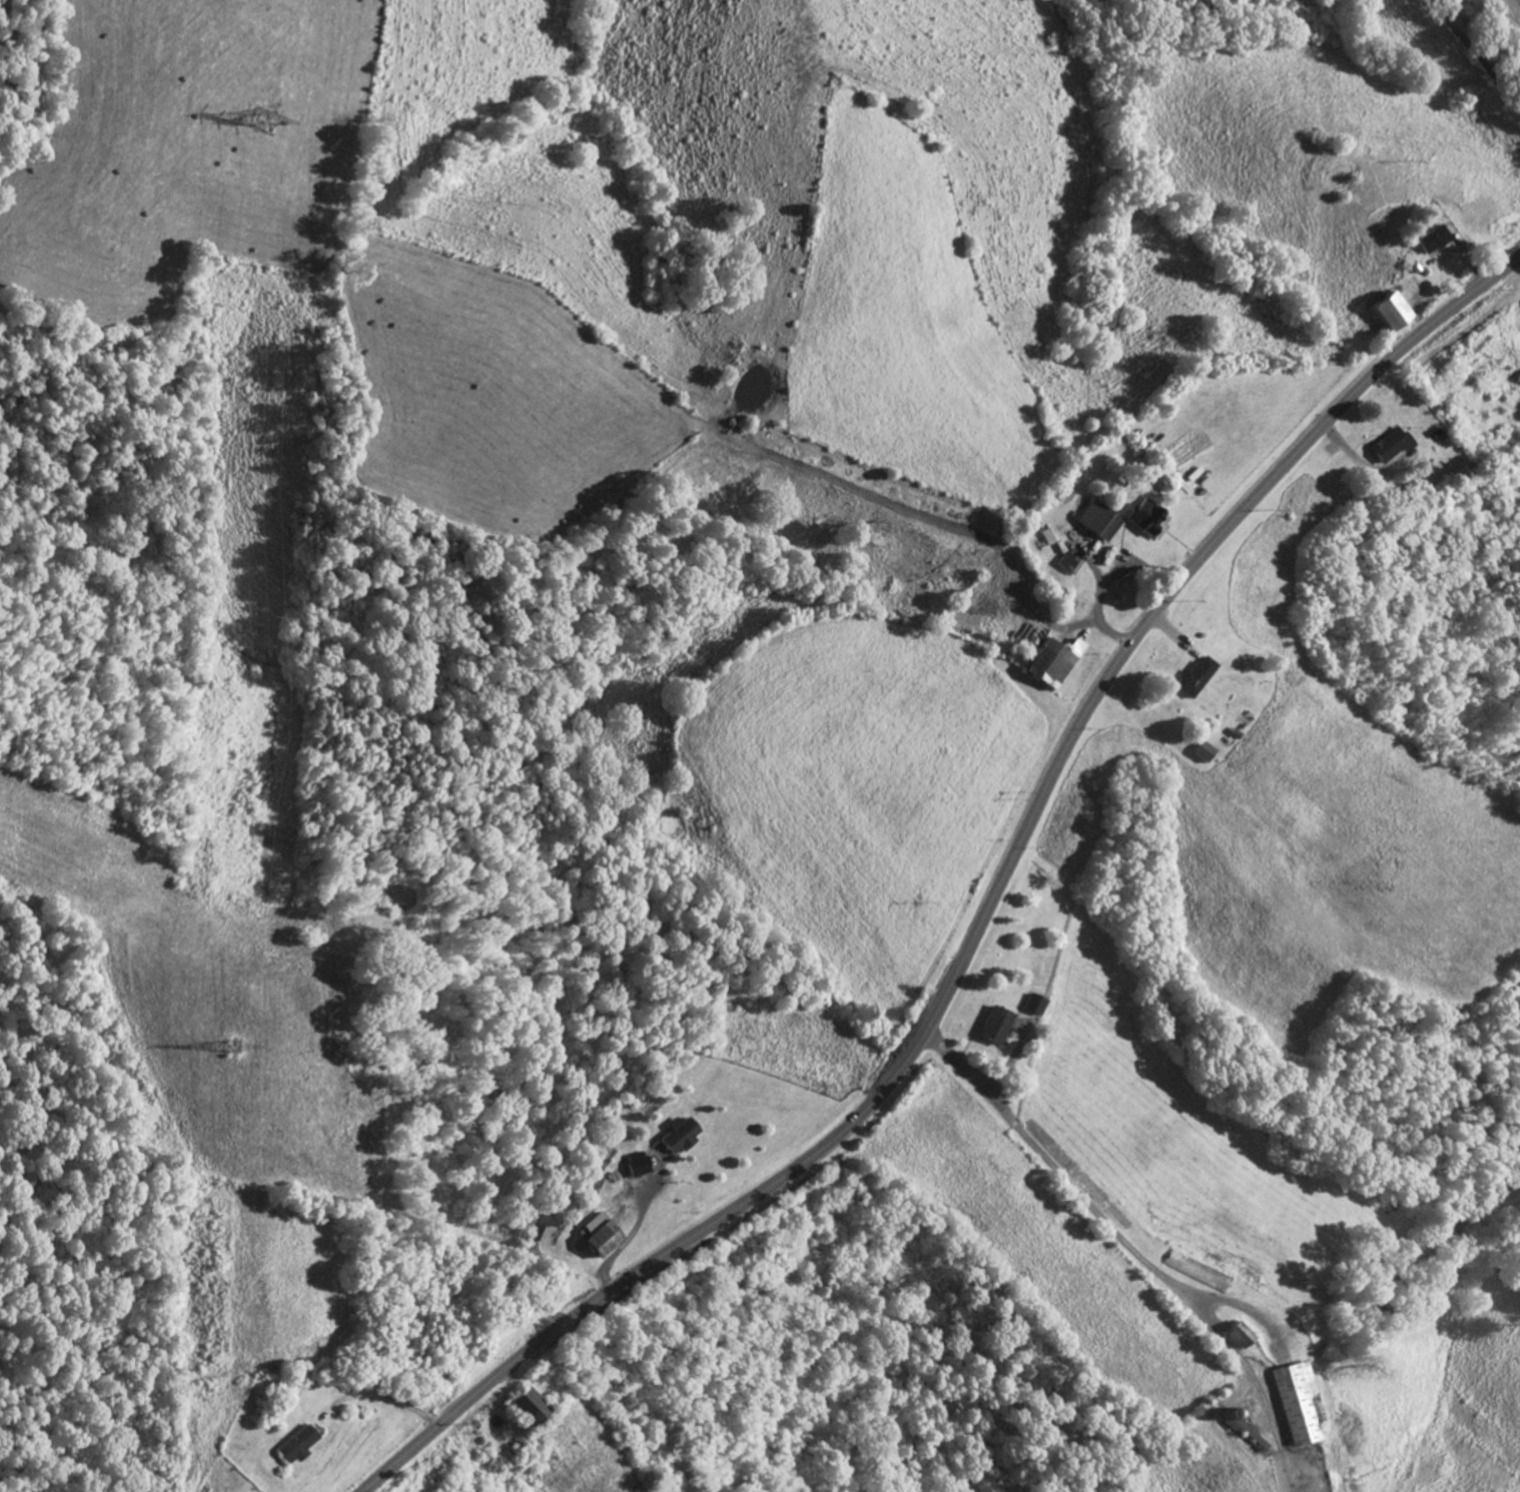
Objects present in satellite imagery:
power tower: (267, 115)
building: (1435, 240)
building: (1395, 313)
building: (1395, 445)
building: (1174, 466)
building: (1148, 516)
building: (1107, 524)
building: (1057, 660)
building: (1200, 675)
road: (985, 917)
building: (999, 1024)
power tower: (231, 1044)
building: (681, 1135)
building: (639, 1164)
building: (605, 1234)
railway: (1425, 1236)
building: (1198, 1270)
building: (1241, 1335)
building: (436, 1376)
building: (1299, 1402)
building: (533, 1406)
building: (300, 1444)
railway: (1093, 1469)

